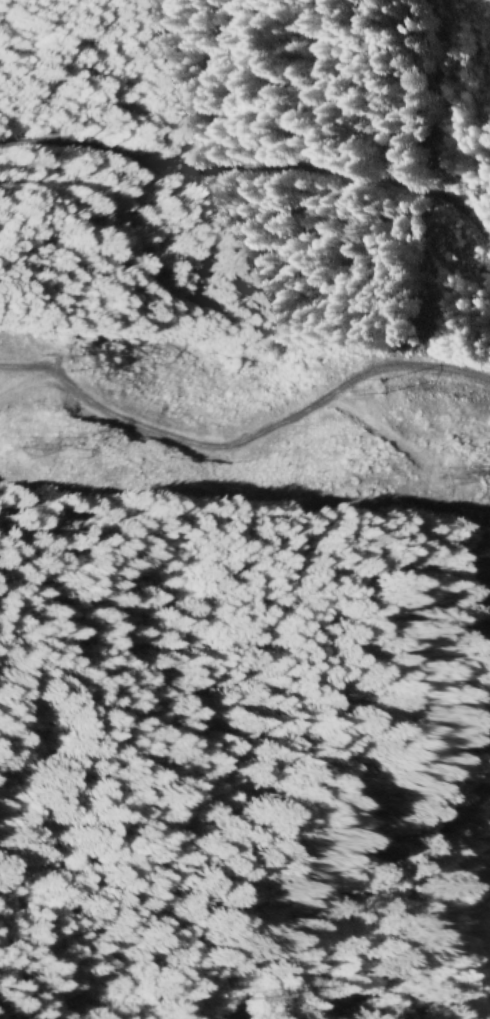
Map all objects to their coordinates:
road: (256, 245)
power tower: (83, 366)
power tower: (394, 387)
road: (353, 917)

